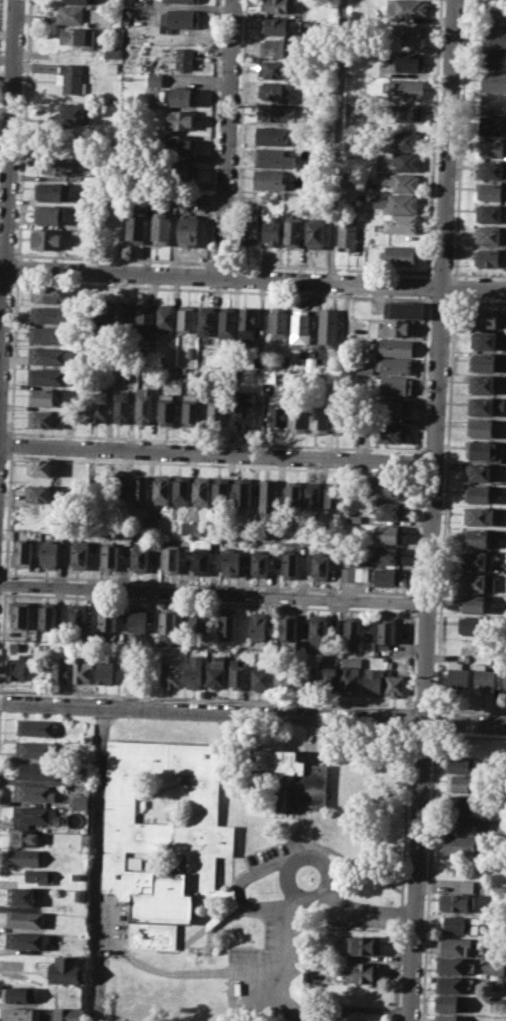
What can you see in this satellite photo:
building: (76, 1)
building: (184, 1)
building: (137, 2)
building: (276, 6)
building: (407, 8)
building: (70, 14)
building: (498, 15)
building: (181, 17)
building: (274, 24)
building: (411, 33)
building: (79, 36)
building: (496, 36)
building: (276, 46)
building: (113, 52)
building: (185, 58)
building: (494, 58)
building: (407, 61)
building: (112, 66)
building: (276, 68)
building: (72, 77)
building: (155, 78)
building: (494, 81)
building: (407, 88)
building: (274, 92)
building: (178, 96)
building: (493, 103)
building: (75, 112)
building: (407, 112)
building: (275, 113)
building: (180, 119)
building: (492, 125)
building: (270, 135)
road: (227, 138)
road: (459, 138)
road: (336, 140)
building: (406, 140)
building: (182, 143)
building: (492, 148)
building: (319, 156)
building: (273, 157)
building: (400, 160)
building: (58, 164)
building: (178, 169)
building: (491, 169)
building: (347, 173)
road: (7, 174)
building: (268, 179)
building: (403, 182)
building: (53, 191)
building: (491, 191)
building: (398, 203)
building: (489, 213)
building: (49, 214)
building: (400, 222)
building: (135, 225)
building: (160, 228)
building: (189, 230)
building: (249, 230)
building: (272, 230)
building: (293, 231)
building: (315, 234)
building: (347, 234)
building: (489, 236)
building: (47, 237)
road: (6, 253)
building: (400, 254)
road: (112, 257)
building: (489, 257)
road: (221, 262)
road: (331, 267)
road: (442, 273)
road: (478, 274)
road: (252, 277)
road: (6, 279)
road: (453, 286)
road: (221, 289)
building: (50, 293)
road: (438, 299)
road: (477, 301)
building: (404, 308)
building: (50, 314)
building: (102, 316)
building: (165, 316)
building: (124, 318)
building: (186, 318)
building: (485, 318)
building: (206, 319)
building: (145, 320)
building: (278, 321)
building: (248, 322)
building: (227, 324)
building: (329, 326)
building: (301, 327)
building: (398, 327)
building: (48, 334)
building: (484, 339)
building: (396, 346)
building: (191, 352)
building: (50, 355)
building: (259, 360)
building: (483, 361)
building: (311, 364)
building: (394, 364)
building: (363, 367)
building: (46, 376)
building: (271, 376)
building: (393, 384)
building: (481, 384)
building: (43, 396)
building: (99, 406)
building: (121, 406)
building: (143, 406)
building: (484, 406)
building: (394, 408)
building: (190, 409)
building: (246, 409)
building: (166, 410)
building: (216, 412)
building: (43, 418)
building: (276, 418)
building: (298, 419)
building: (320, 419)
building: (340, 420)
building: (482, 428)
building: (389, 433)
building: (486, 450)
road: (216, 452)
building: (40, 467)
building: (479, 471)
building: (94, 487)
building: (116, 487)
building: (139, 487)
building: (387, 488)
building: (161, 489)
building: (182, 490)
building: (38, 491)
building: (201, 491)
building: (220, 493)
building: (333, 494)
building: (478, 494)
building: (293, 495)
building: (243, 496)
building: (314, 496)
building: (268, 500)
road: (444, 503)
road: (431, 510)
building: (389, 511)
building: (478, 515)
building: (354, 517)
building: (151, 524)
building: (190, 527)
building: (389, 534)
building: (475, 537)
building: (334, 552)
building: (23, 554)
building: (50, 554)
building: (79, 555)
building: (388, 555)
building: (108, 556)
building: (352, 556)
building: (169, 558)
building: (139, 559)
building: (476, 559)
building: (201, 561)
building: (231, 562)
building: (259, 564)
building: (290, 565)
building: (320, 566)
building: (354, 574)
building: (388, 577)
building: (477, 582)
road: (214, 593)
building: (472, 603)
building: (21, 614)
building: (47, 615)
building: (76, 616)
building: (106, 618)
building: (137, 620)
building: (167, 621)
building: (198, 622)
building: (227, 624)
building: (257, 626)
building: (472, 626)
building: (287, 628)
building: (318, 630)
building: (351, 631)
building: (385, 631)
building: (13, 645)
building: (298, 645)
building: (16, 667)
building: (81, 668)
building: (171, 670)
building: (59, 671)
building: (103, 671)
building: (193, 671)
building: (215, 671)
building: (350, 673)
building: (457, 674)
building: (237, 675)
building: (486, 676)
building: (259, 678)
building: (306, 678)
building: (285, 679)
building: (327, 679)
building: (504, 679)
building: (372, 680)
building: (395, 684)
road: (207, 697)
road: (423, 707)
road: (469, 709)
road: (253, 712)
road: (434, 720)
building: (35, 727)
building: (86, 737)
building: (34, 748)
building: (461, 764)
building: (36, 771)
building: (294, 778)
building: (460, 783)
building: (34, 792)
building: (80, 800)
building: (463, 804)
building: (32, 814)
building: (460, 824)
building: (162, 831)
building: (24, 837)
building: (459, 845)
parking lot: (275, 856)
building: (24, 857)
road: (95, 861)
building: (40, 875)
road: (428, 875)
building: (75, 876)
road: (242, 878)
road: (288, 883)
building: (465, 885)
road: (323, 893)
building: (79, 894)
building: (23, 895)
building: (458, 902)
road: (370, 910)
parking lot: (359, 915)
building: (24, 918)
building: (459, 924)
building: (26, 940)
building: (358, 944)
building: (454, 946)
building: (492, 953)
road: (285, 961)
building: (449, 964)
building: (66, 969)
building: (494, 969)
building: (362, 971)
parking lot: (266, 973)
building: (449, 984)
building: (493, 984)
building: (20, 993)
road: (255, 999)
building: (447, 1002)
building: (18, 1014)
building: (63, 1014)
building: (447, 1017)

